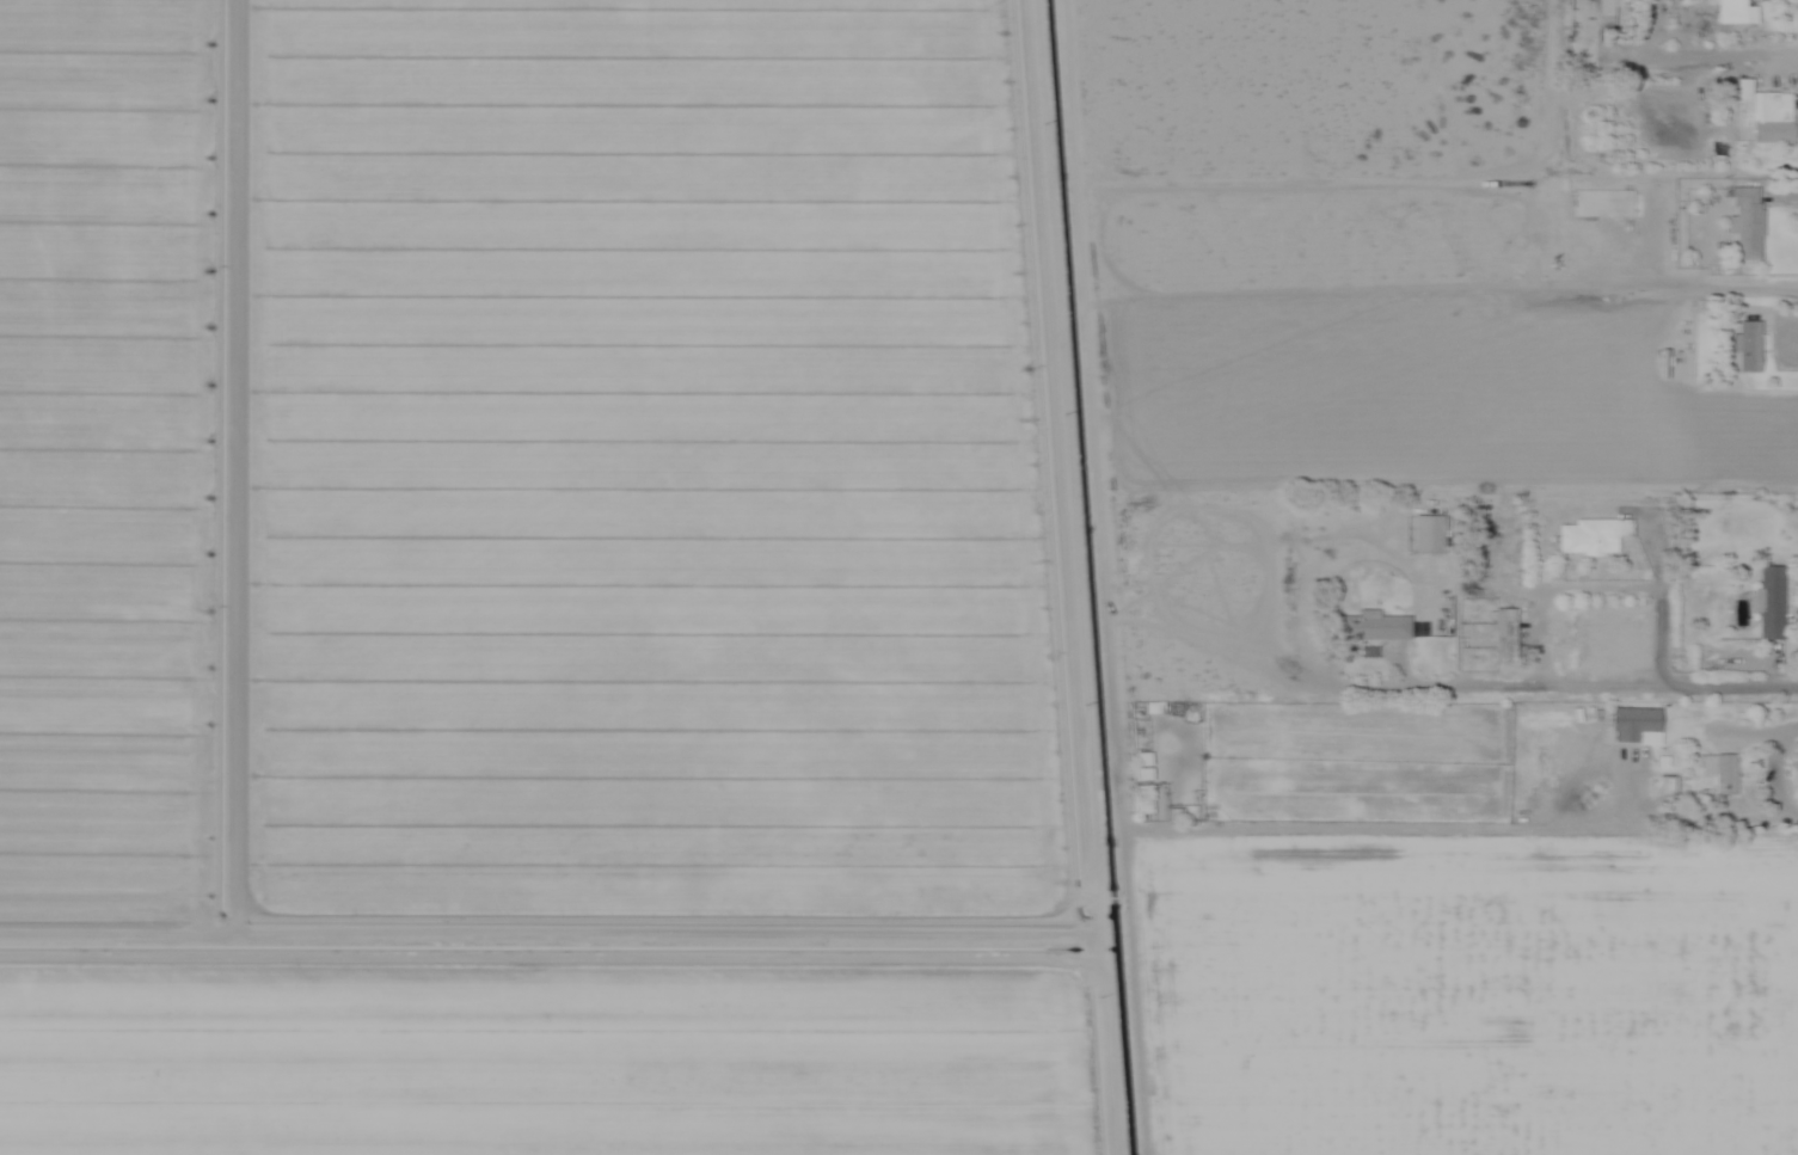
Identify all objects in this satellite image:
building: (1600, 12)
building: (1731, 13)
building: (1760, 111)
building: (1607, 203)
building: (1744, 225)
building: (1745, 346)
building: (1426, 535)
building: (1589, 539)
building: (1767, 603)
building: (1369, 628)
building: (1501, 637)
road: (1570, 689)
building: (1632, 724)
building: (1140, 767)
building: (1718, 773)
building: (1667, 787)
building: (1142, 804)
road: (1497, 828)

